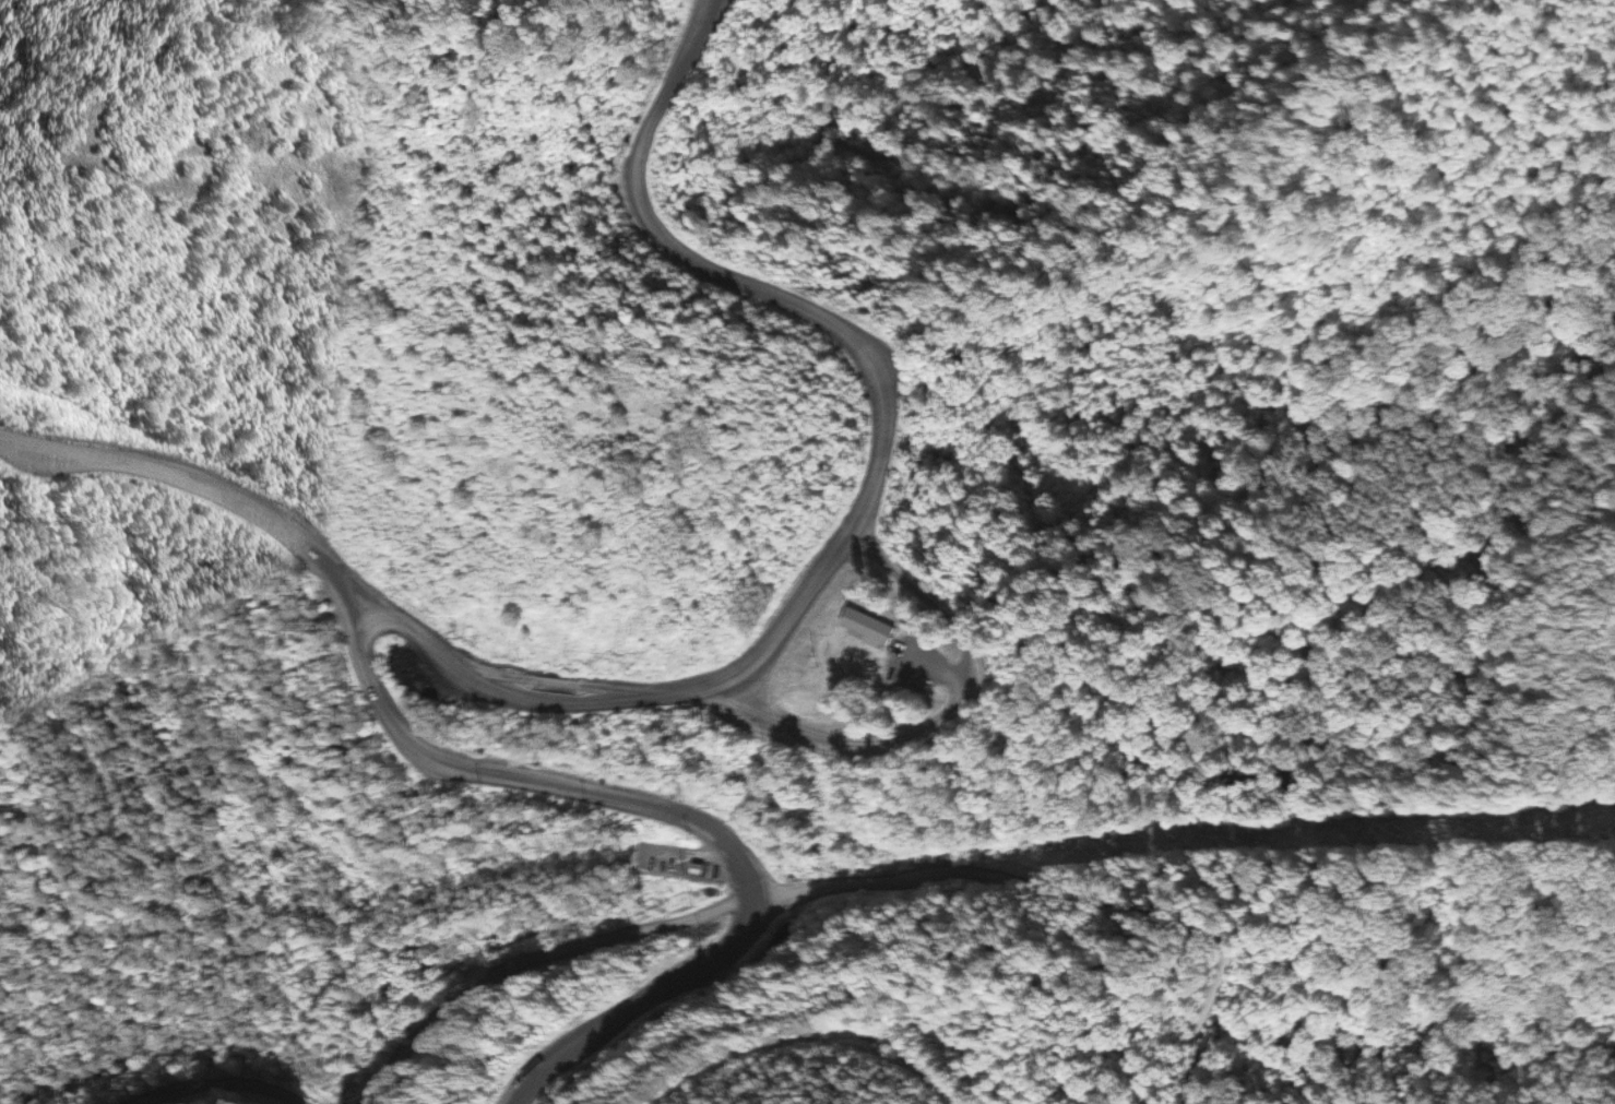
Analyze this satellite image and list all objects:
building: (875, 628)
road: (639, 924)
road: (1192, 927)
road: (644, 1001)
road: (191, 1100)

